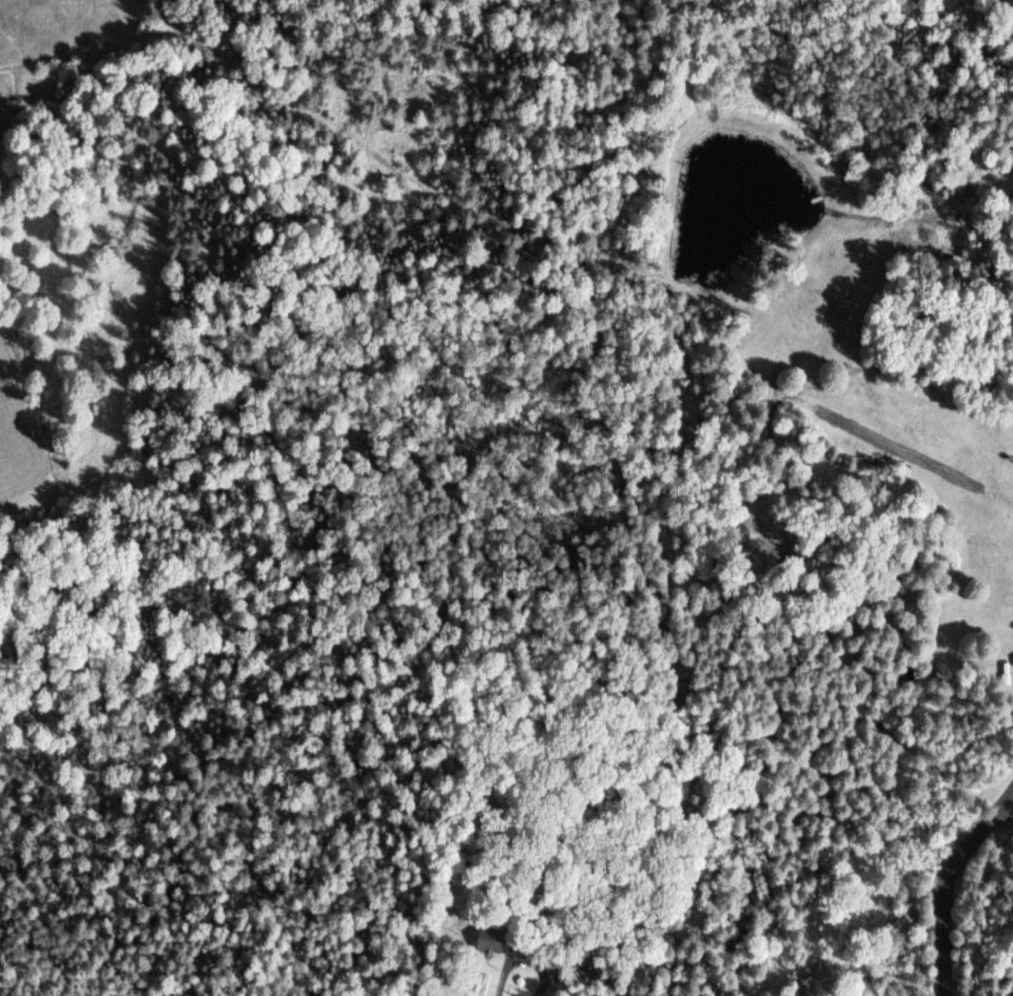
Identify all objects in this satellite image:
building: (486, 943)

